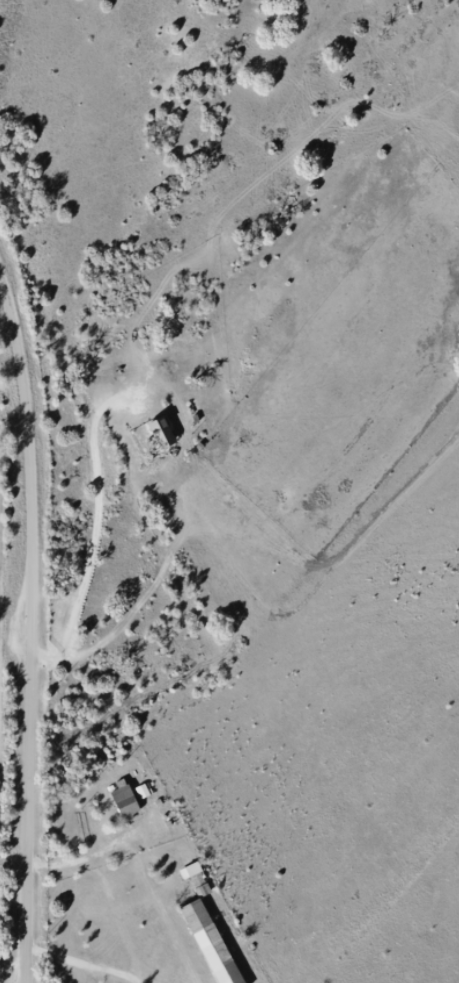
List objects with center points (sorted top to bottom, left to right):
building: (170, 441)
road: (37, 618)
building: (132, 806)
building: (191, 871)
building: (215, 946)

